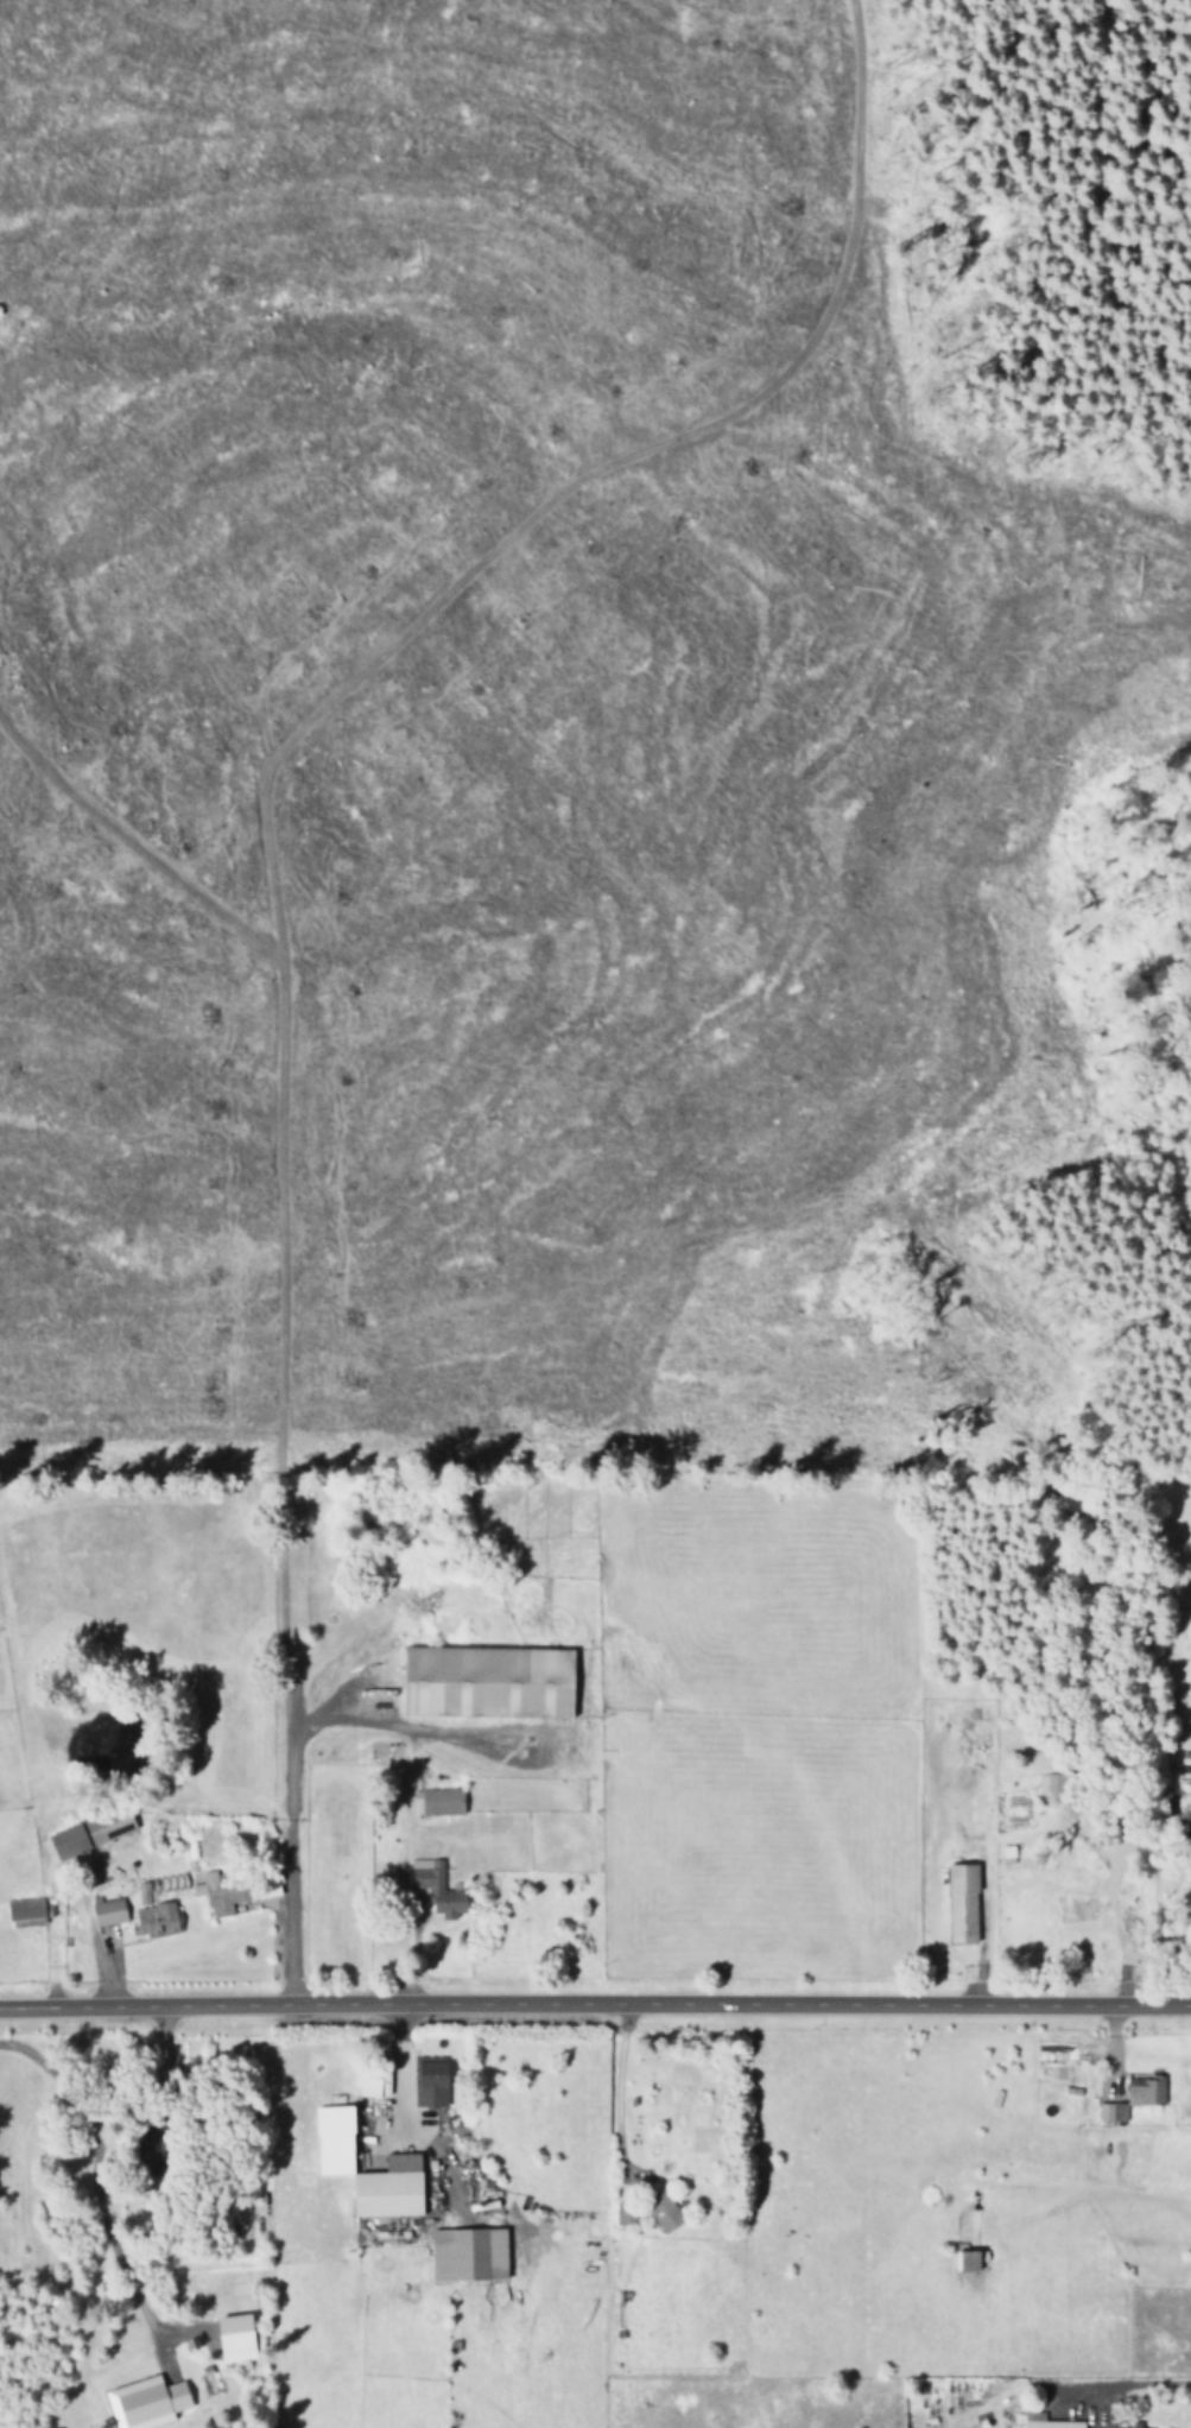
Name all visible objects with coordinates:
road: (1103, 277)
road: (878, 739)
road: (982, 766)
road: (275, 988)
building: (488, 1681)
building: (1054, 1782)
building: (442, 1801)
building: (88, 1833)
building: (436, 1888)
building: (233, 1890)
building: (142, 1892)
building: (962, 1902)
building: (25, 1911)
building: (108, 1911)
building: (154, 1920)
road: (595, 2007)
building: (430, 2081)
building: (373, 2084)
building: (1145, 2091)
building: (1111, 2111)
building: (335, 2162)
road: (90, 2175)
building: (664, 2212)
building: (625, 2213)
building: (468, 2253)
building: (968, 2261)
building: (235, 2337)
building: (146, 2402)
building: (1047, 2421)
building: (1126, 2424)

